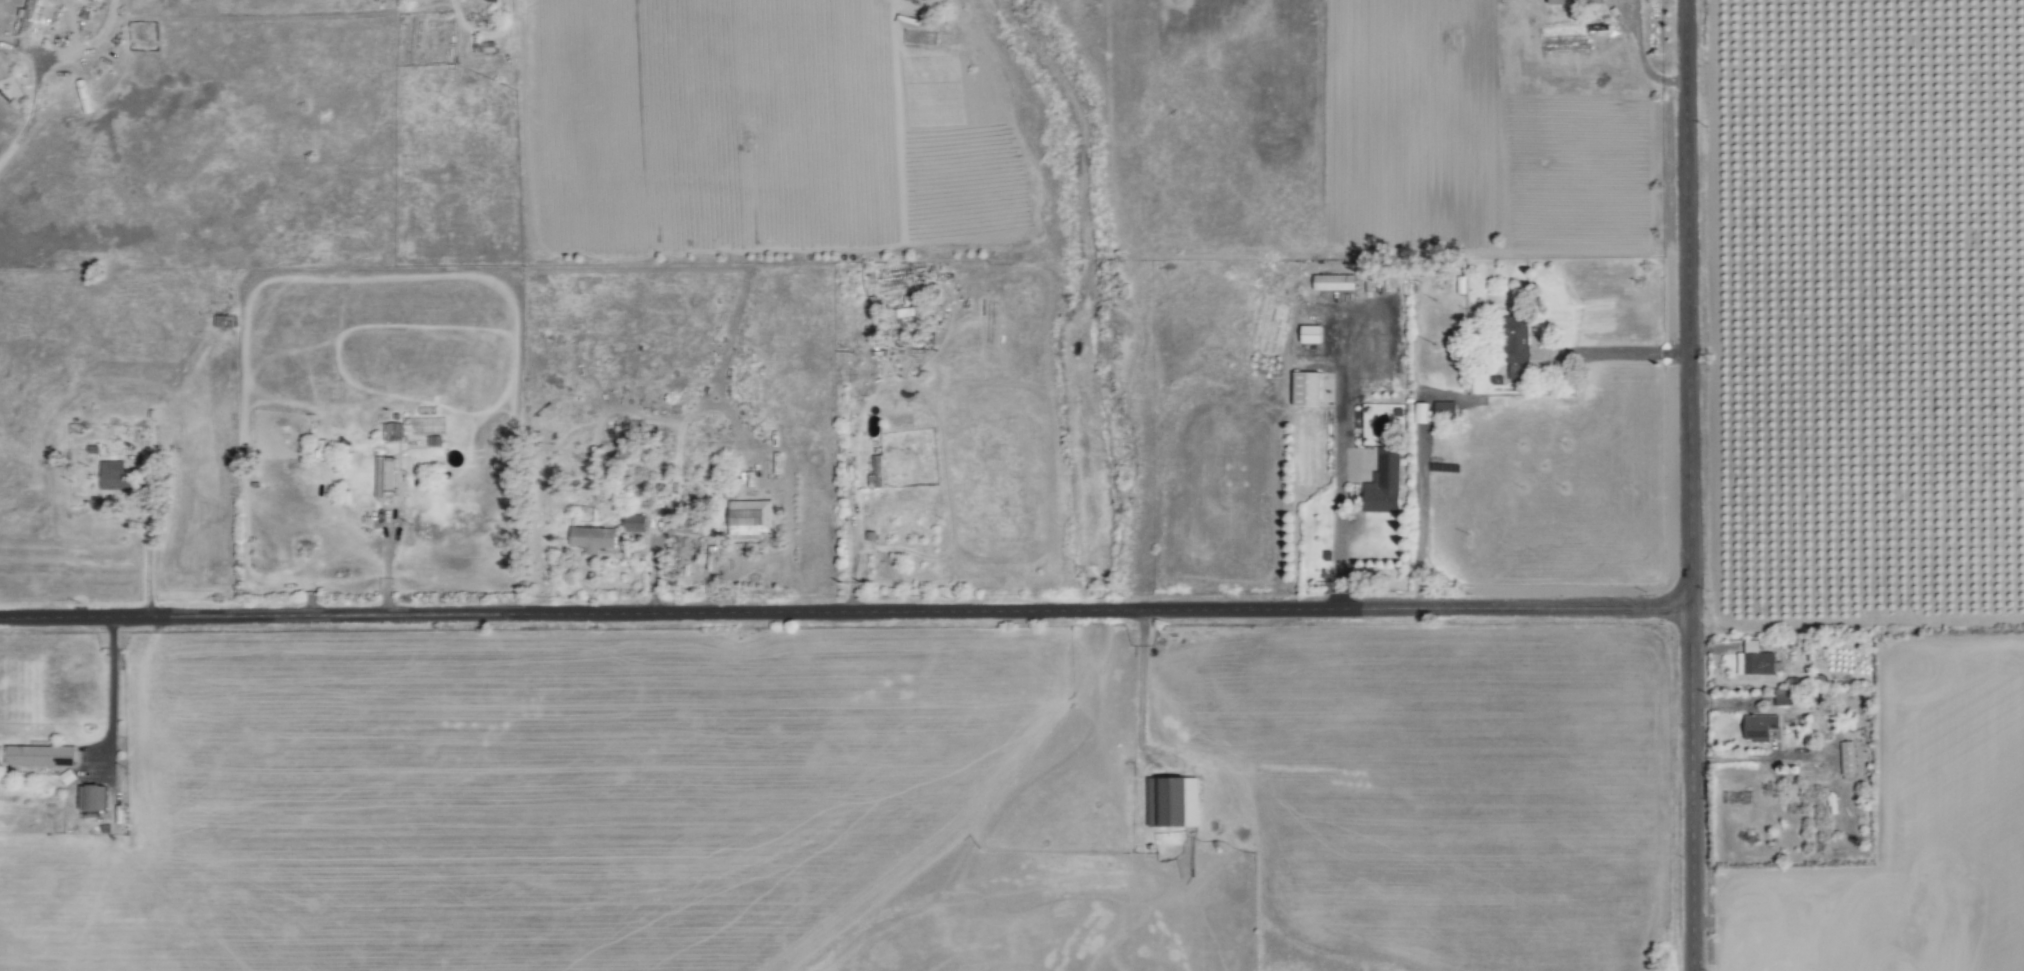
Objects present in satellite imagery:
road: (457, 8)
building: (28, 16)
road: (39, 62)
building: (1335, 282)
building: (908, 310)
building: (1313, 335)
road: (1615, 353)
building: (1309, 367)
building: (1310, 389)
building: (1445, 410)
building: (1423, 413)
building: (393, 430)
building: (878, 473)
building: (113, 475)
building: (386, 478)
building: (1385, 484)
road: (1690, 485)
building: (752, 518)
building: (635, 524)
building: (594, 539)
road: (147, 552)
road: (845, 612)
building: (1756, 661)
road: (1141, 688)
road: (111, 693)
building: (1784, 697)
building: (1759, 727)
building: (41, 756)
building: (1849, 758)
building: (94, 798)
building: (1175, 802)

